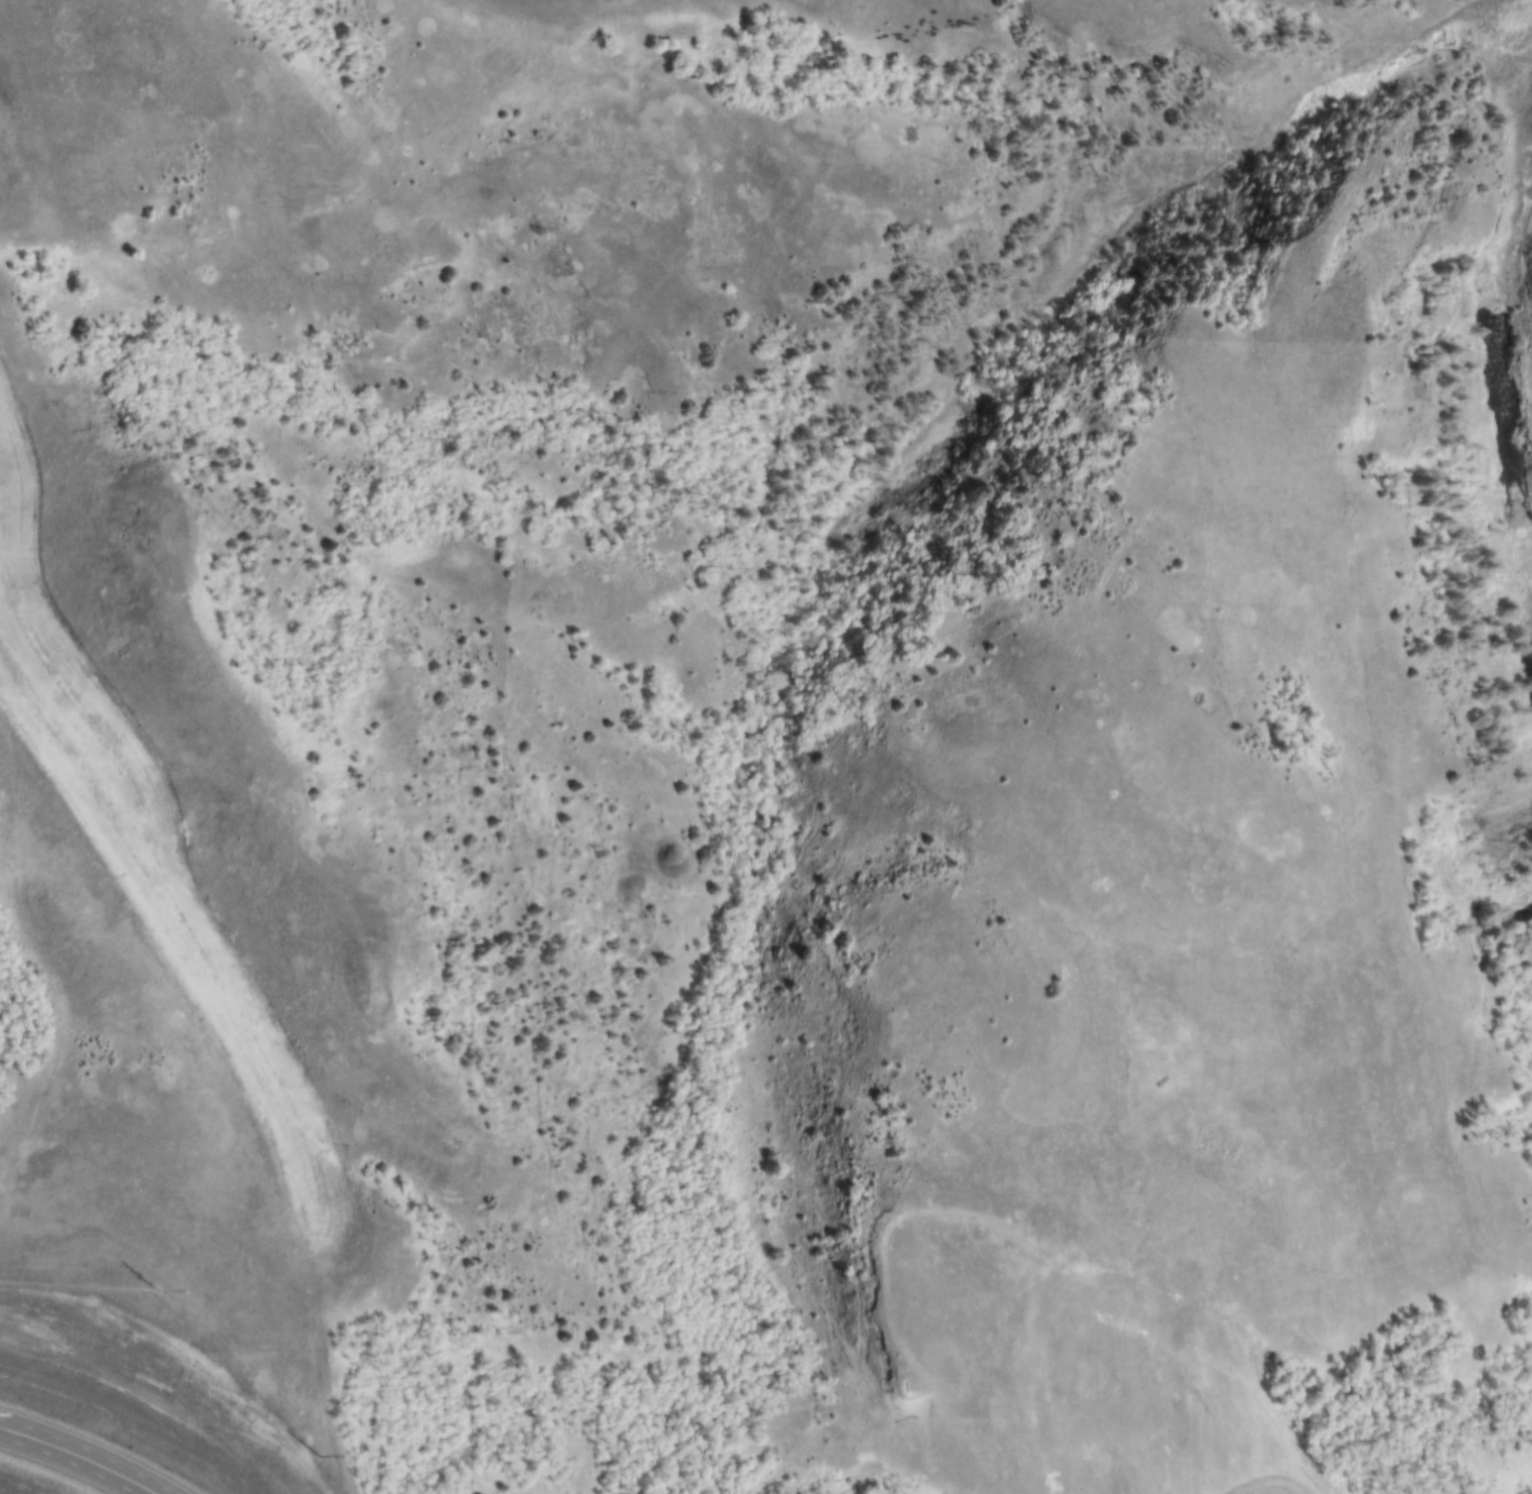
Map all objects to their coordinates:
road: (82, 1453)

